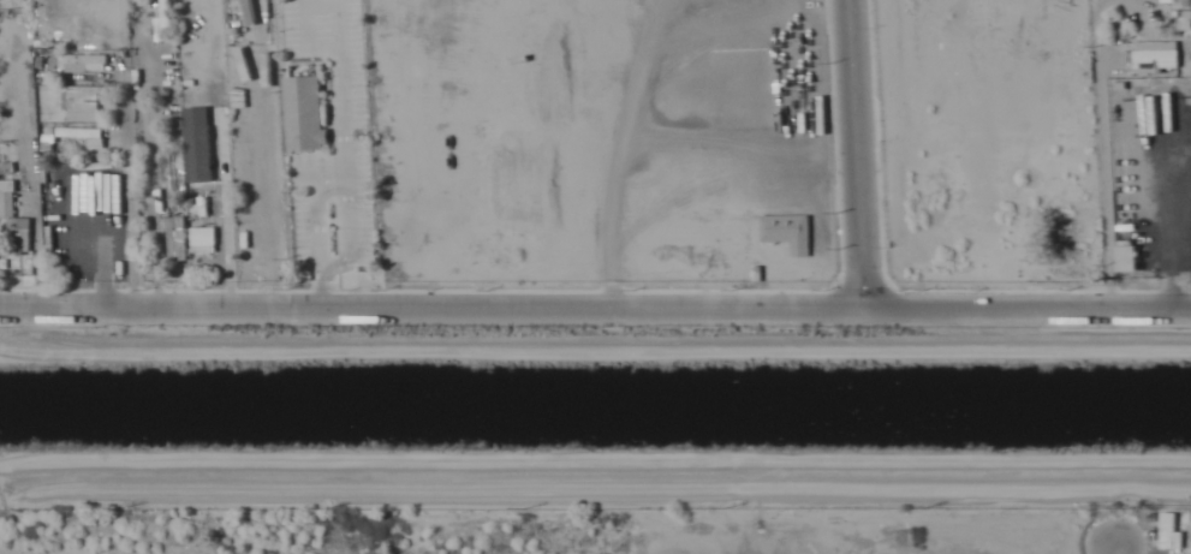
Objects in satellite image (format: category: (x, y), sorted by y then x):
building: (163, 13)
building: (1155, 56)
building: (88, 61)
building: (82, 103)
building: (304, 114)
building: (83, 136)
road: (856, 154)
building: (171, 163)
building: (198, 183)
building: (12, 220)
building: (787, 232)
building: (173, 237)
building: (193, 240)
road: (595, 306)
building: (1168, 532)
road: (1116, 548)

